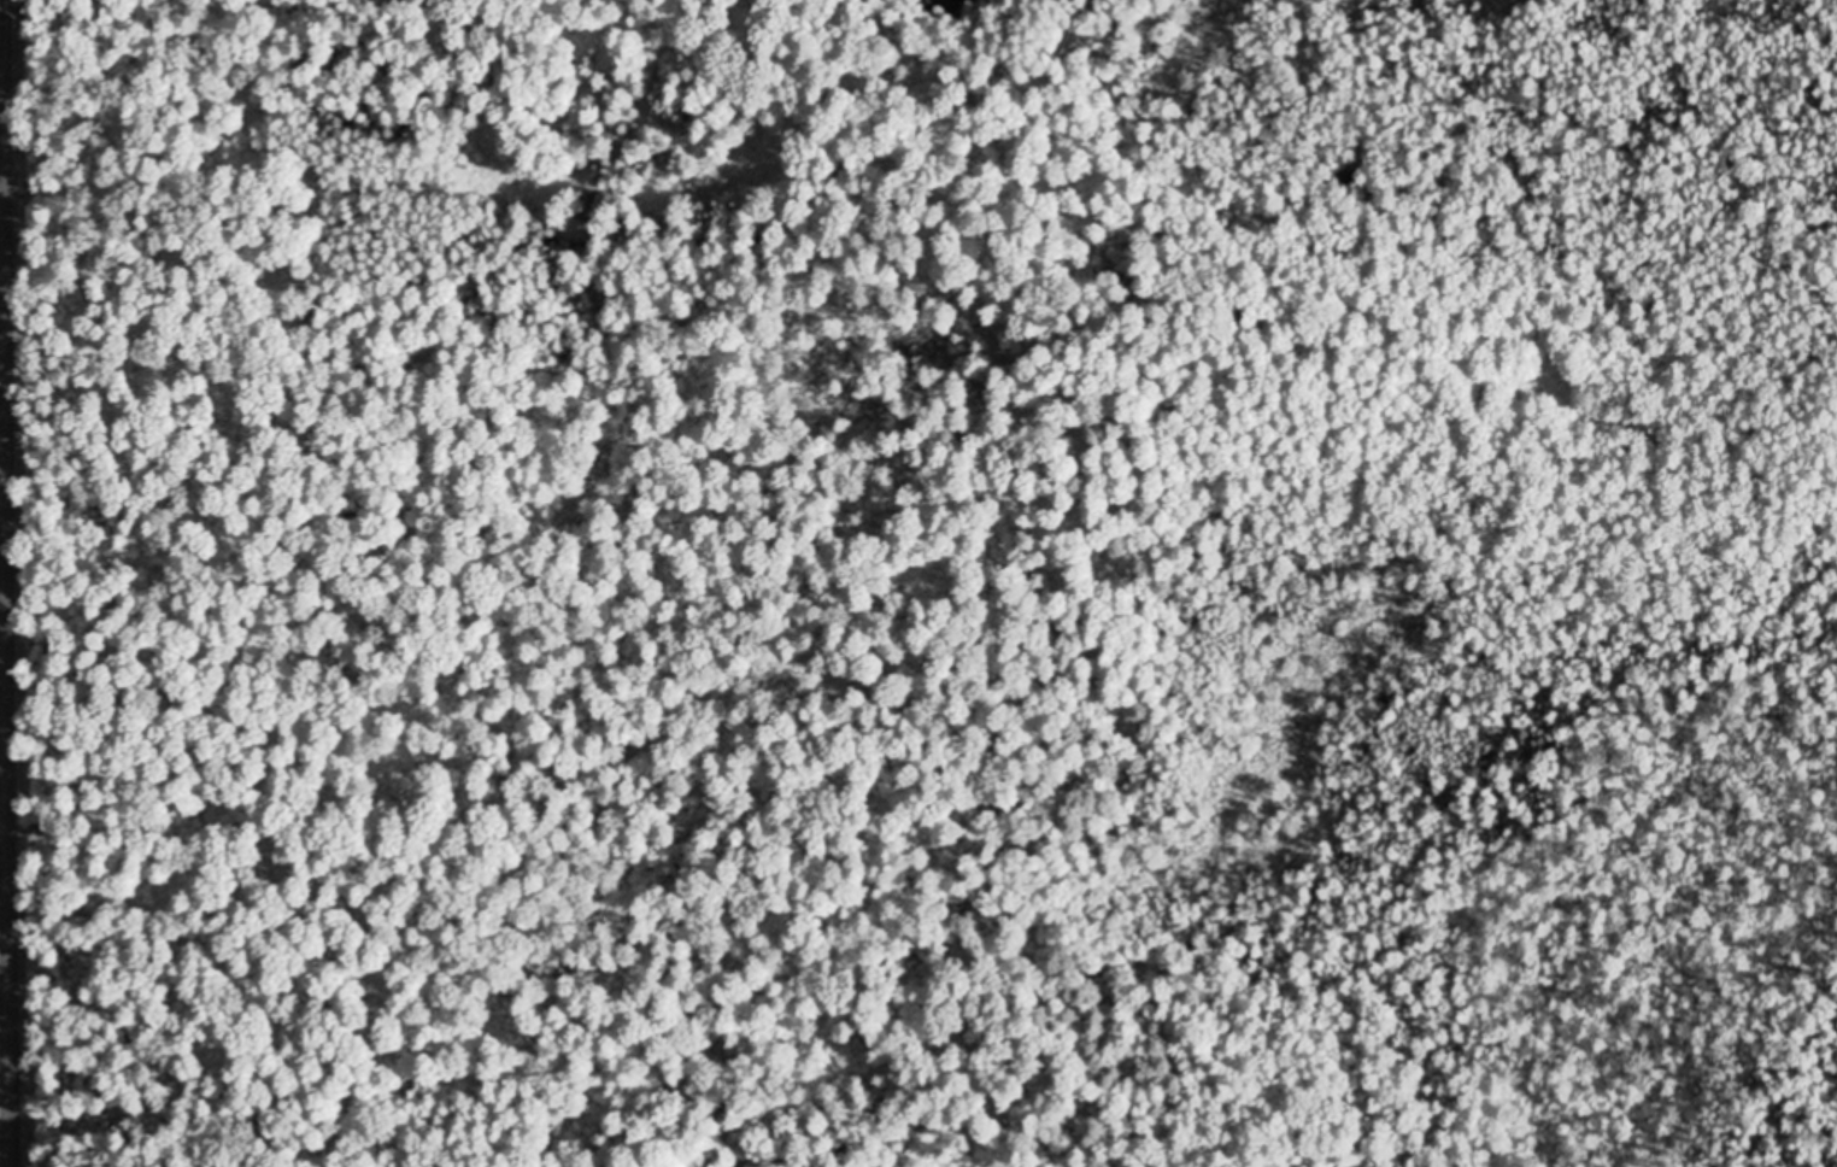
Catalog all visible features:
road: (0, 1016)

